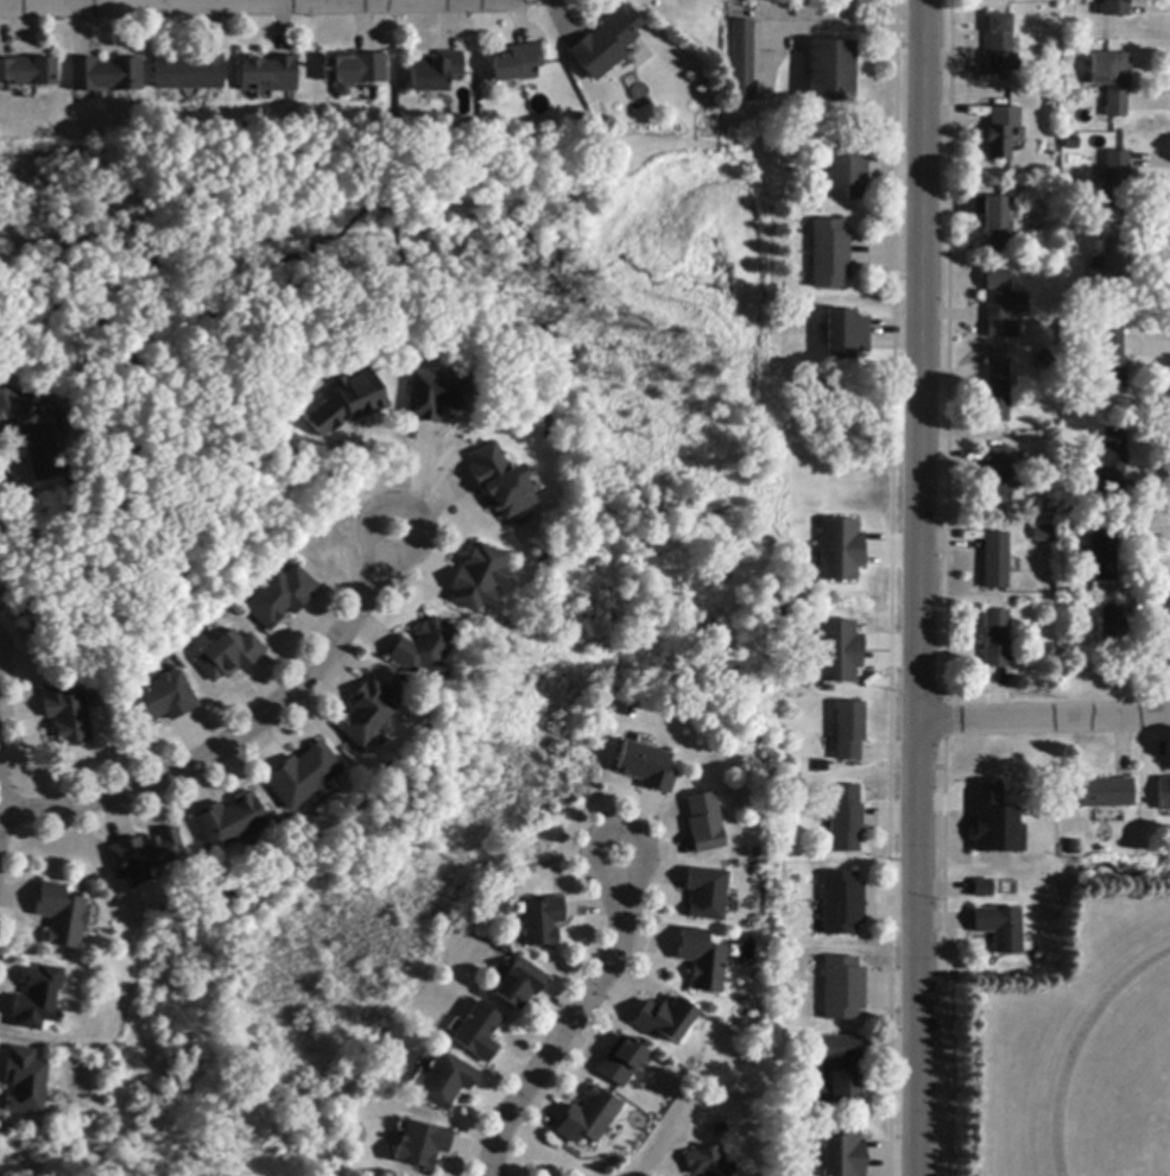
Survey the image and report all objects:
road: (192, 1)
building: (1117, 8)
road: (853, 24)
building: (605, 44)
building: (1000, 45)
building: (742, 62)
building: (514, 64)
building: (353, 71)
building: (830, 71)
building: (27, 72)
building: (434, 72)
building: (188, 74)
building: (105, 75)
building: (266, 76)
building: (1112, 81)
building: (999, 139)
building: (846, 171)
building: (1117, 181)
building: (997, 225)
building: (829, 255)
building: (1113, 273)
building: (1003, 306)
building: (845, 336)
building: (1112, 359)
building: (1043, 360)
building: (997, 392)
building: (434, 394)
building: (347, 404)
building: (31, 436)
building: (1111, 461)
road: (2, 473)
building: (994, 479)
building: (499, 482)
building: (1042, 535)
building: (840, 550)
building: (1101, 552)
building: (994, 561)
building: (476, 578)
road: (919, 587)
building: (280, 598)
building: (1112, 628)
building: (994, 639)
building: (423, 649)
building: (839, 652)
building: (228, 656)
park: (643, 660)
building: (160, 700)
building: (366, 713)
building: (67, 716)
road: (1044, 720)
road: (239, 731)
building: (849, 731)
building: (645, 767)
building: (301, 777)
building: (1105, 794)
building: (1163, 795)
building: (846, 818)
building: (993, 821)
building: (228, 822)
building: (704, 823)
building: (1070, 848)
building: (143, 856)
building: (1003, 865)
building: (981, 886)
building: (707, 894)
building: (842, 904)
building: (59, 916)
building: (542, 923)
building: (999, 929)
building: (702, 960)
building: (520, 985)
building: (842, 988)
building: (37, 999)
building: (664, 1019)
road: (577, 1022)
building: (478, 1033)
building: (621, 1062)
building: (835, 1075)
building: (25, 1081)
building: (445, 1082)
park: (1124, 1086)
building: (589, 1118)
building: (422, 1146)
building: (842, 1152)
building: (704, 1163)

